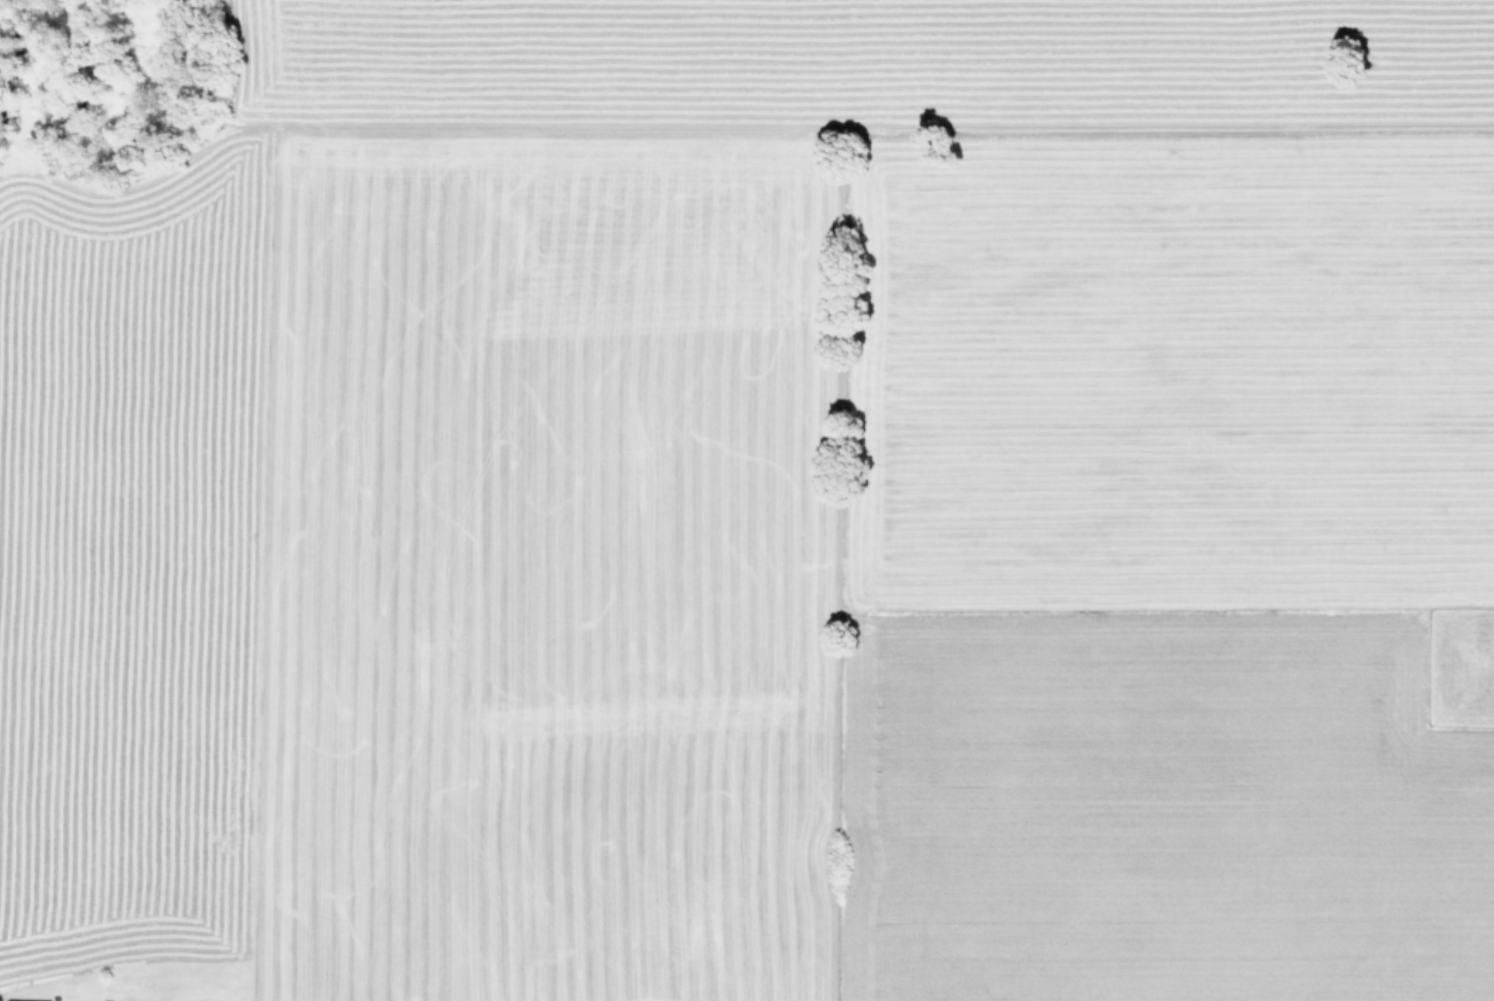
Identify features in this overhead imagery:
river: (106, 108)
crop: (765, 513)

